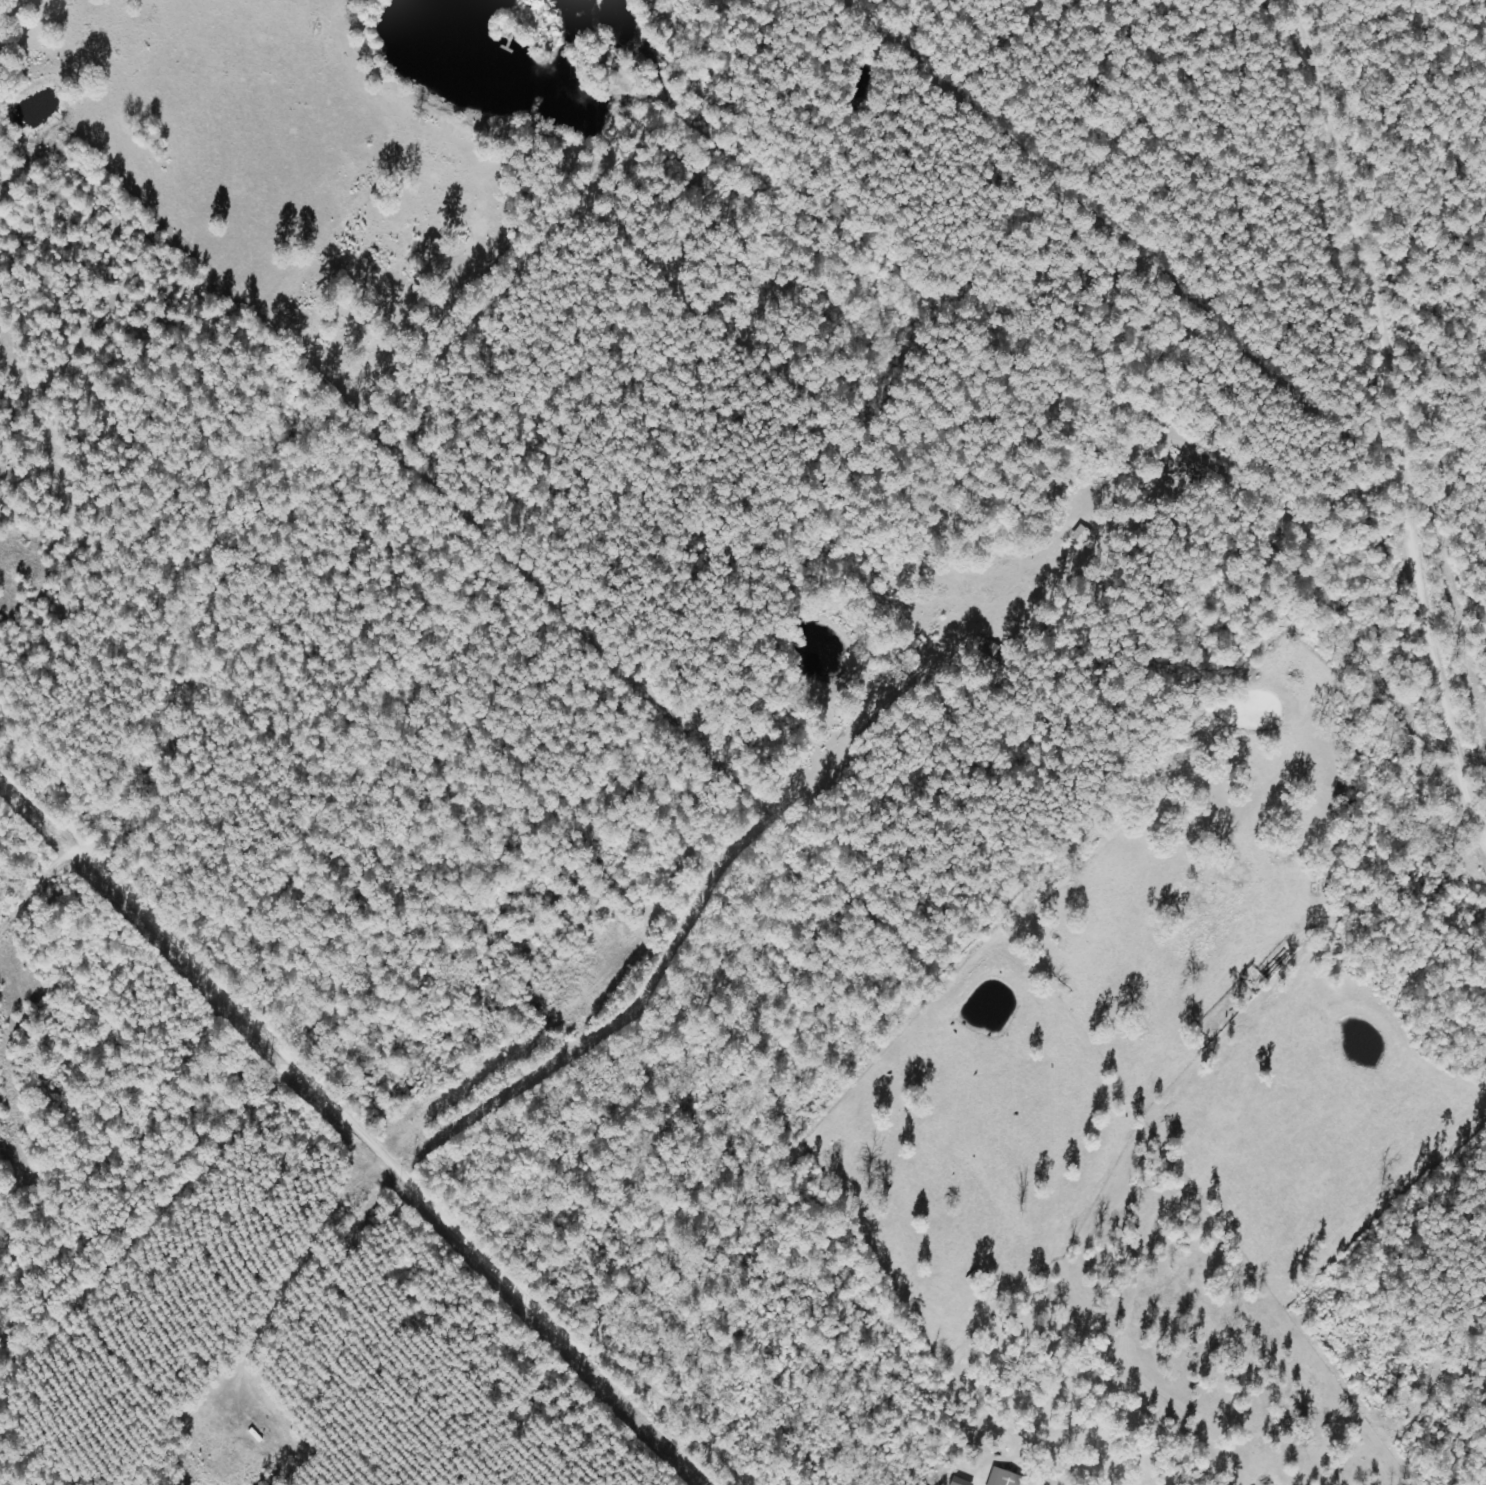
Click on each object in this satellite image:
road: (1399, 417)
road: (1474, 733)
road: (33, 880)
road: (358, 1133)
building: (1009, 1478)
building: (963, 1482)

